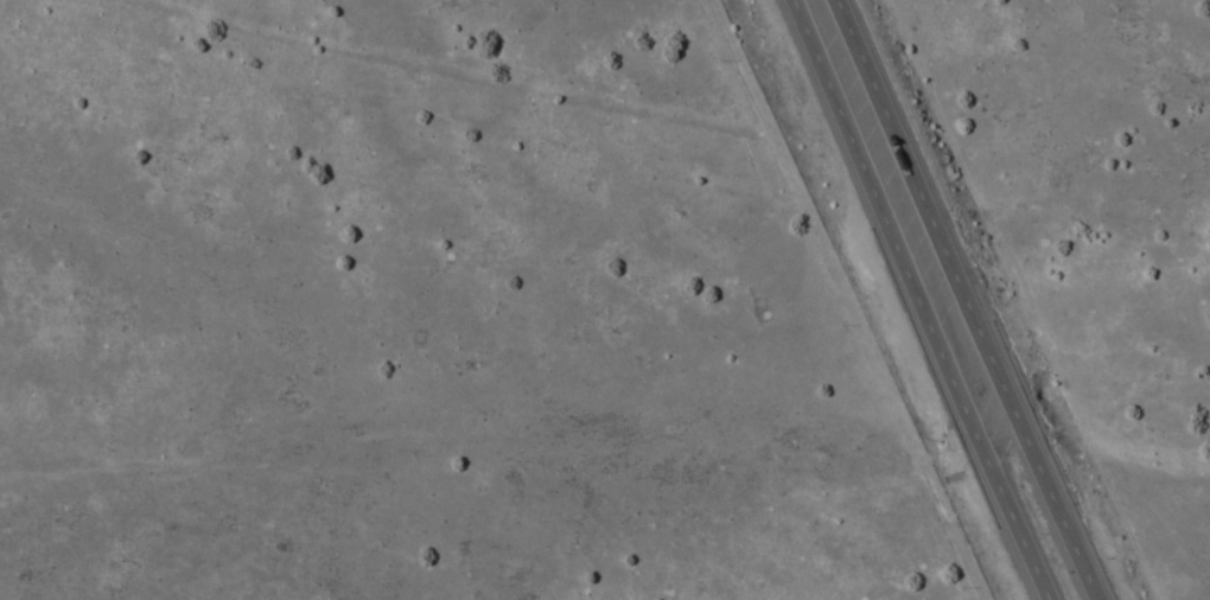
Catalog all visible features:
road: (919, 300)
road: (967, 300)

